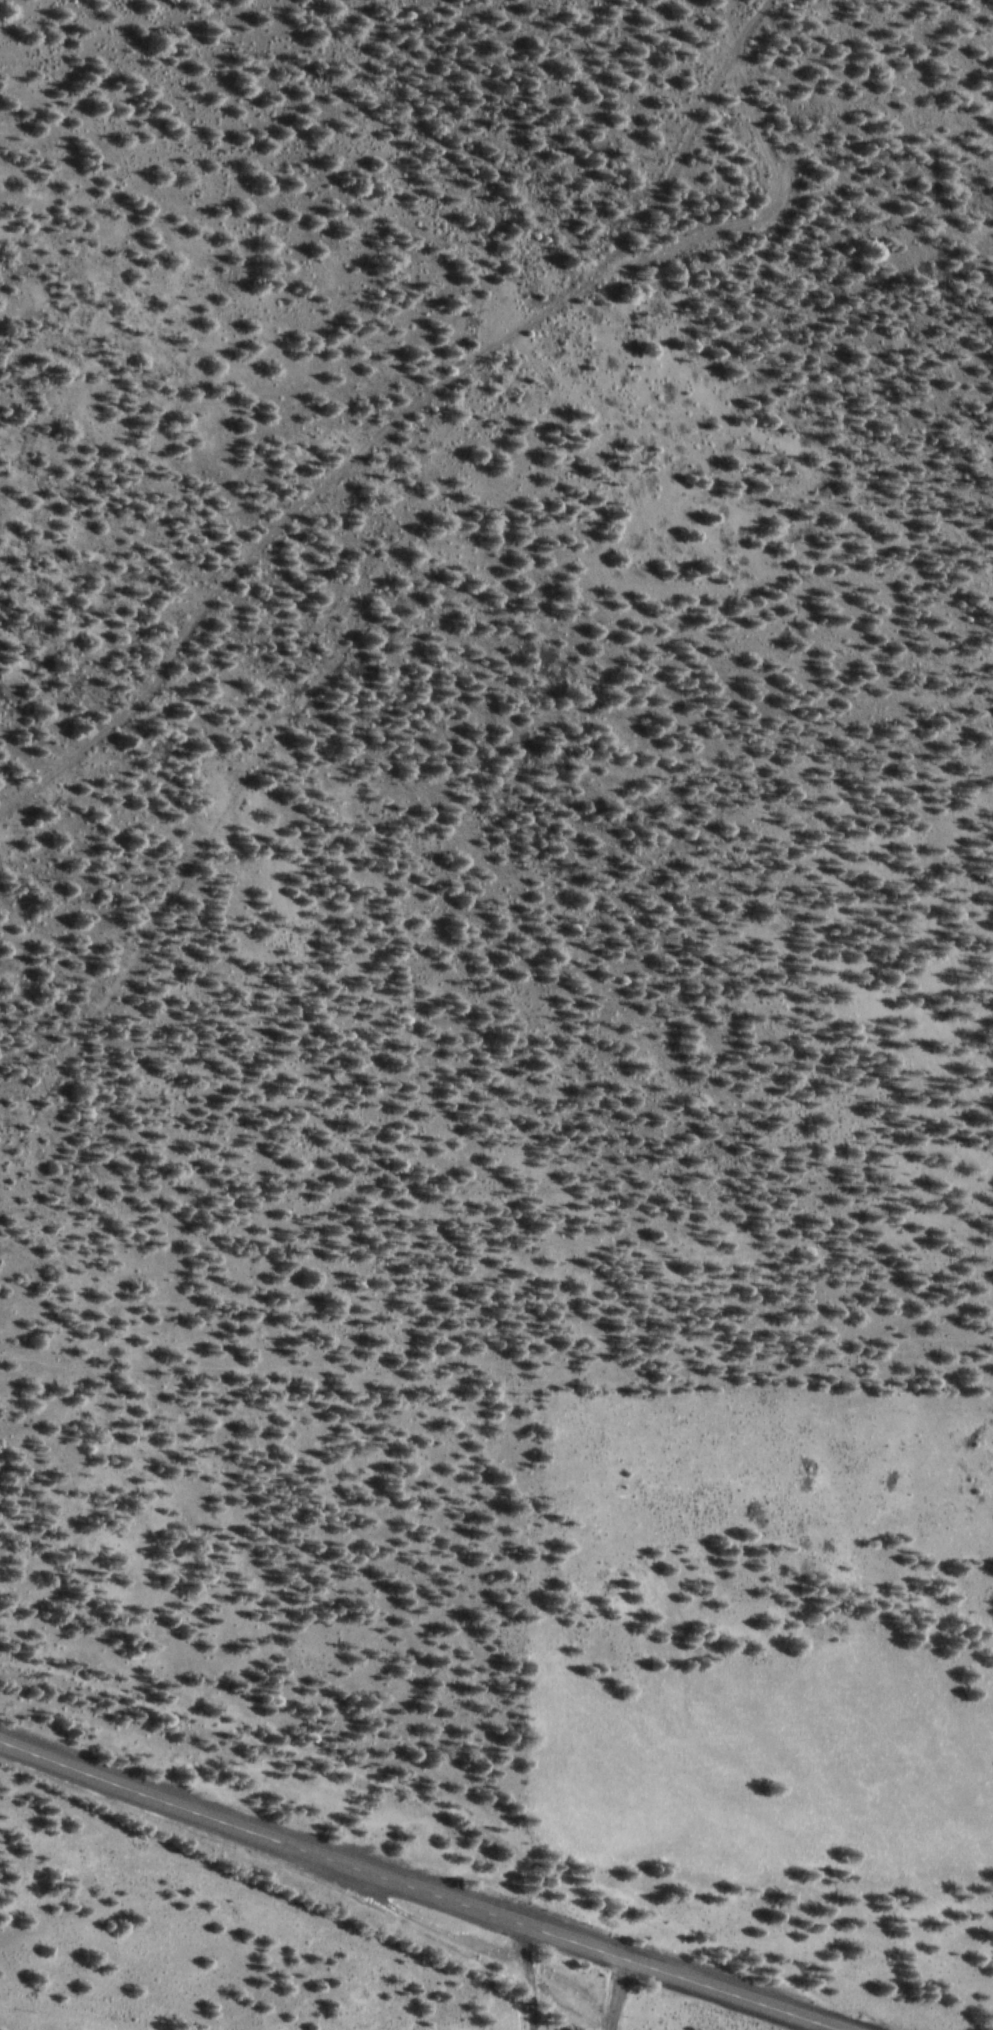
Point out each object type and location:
road: (421, 1888)
road: (530, 1976)
road: (616, 1992)

